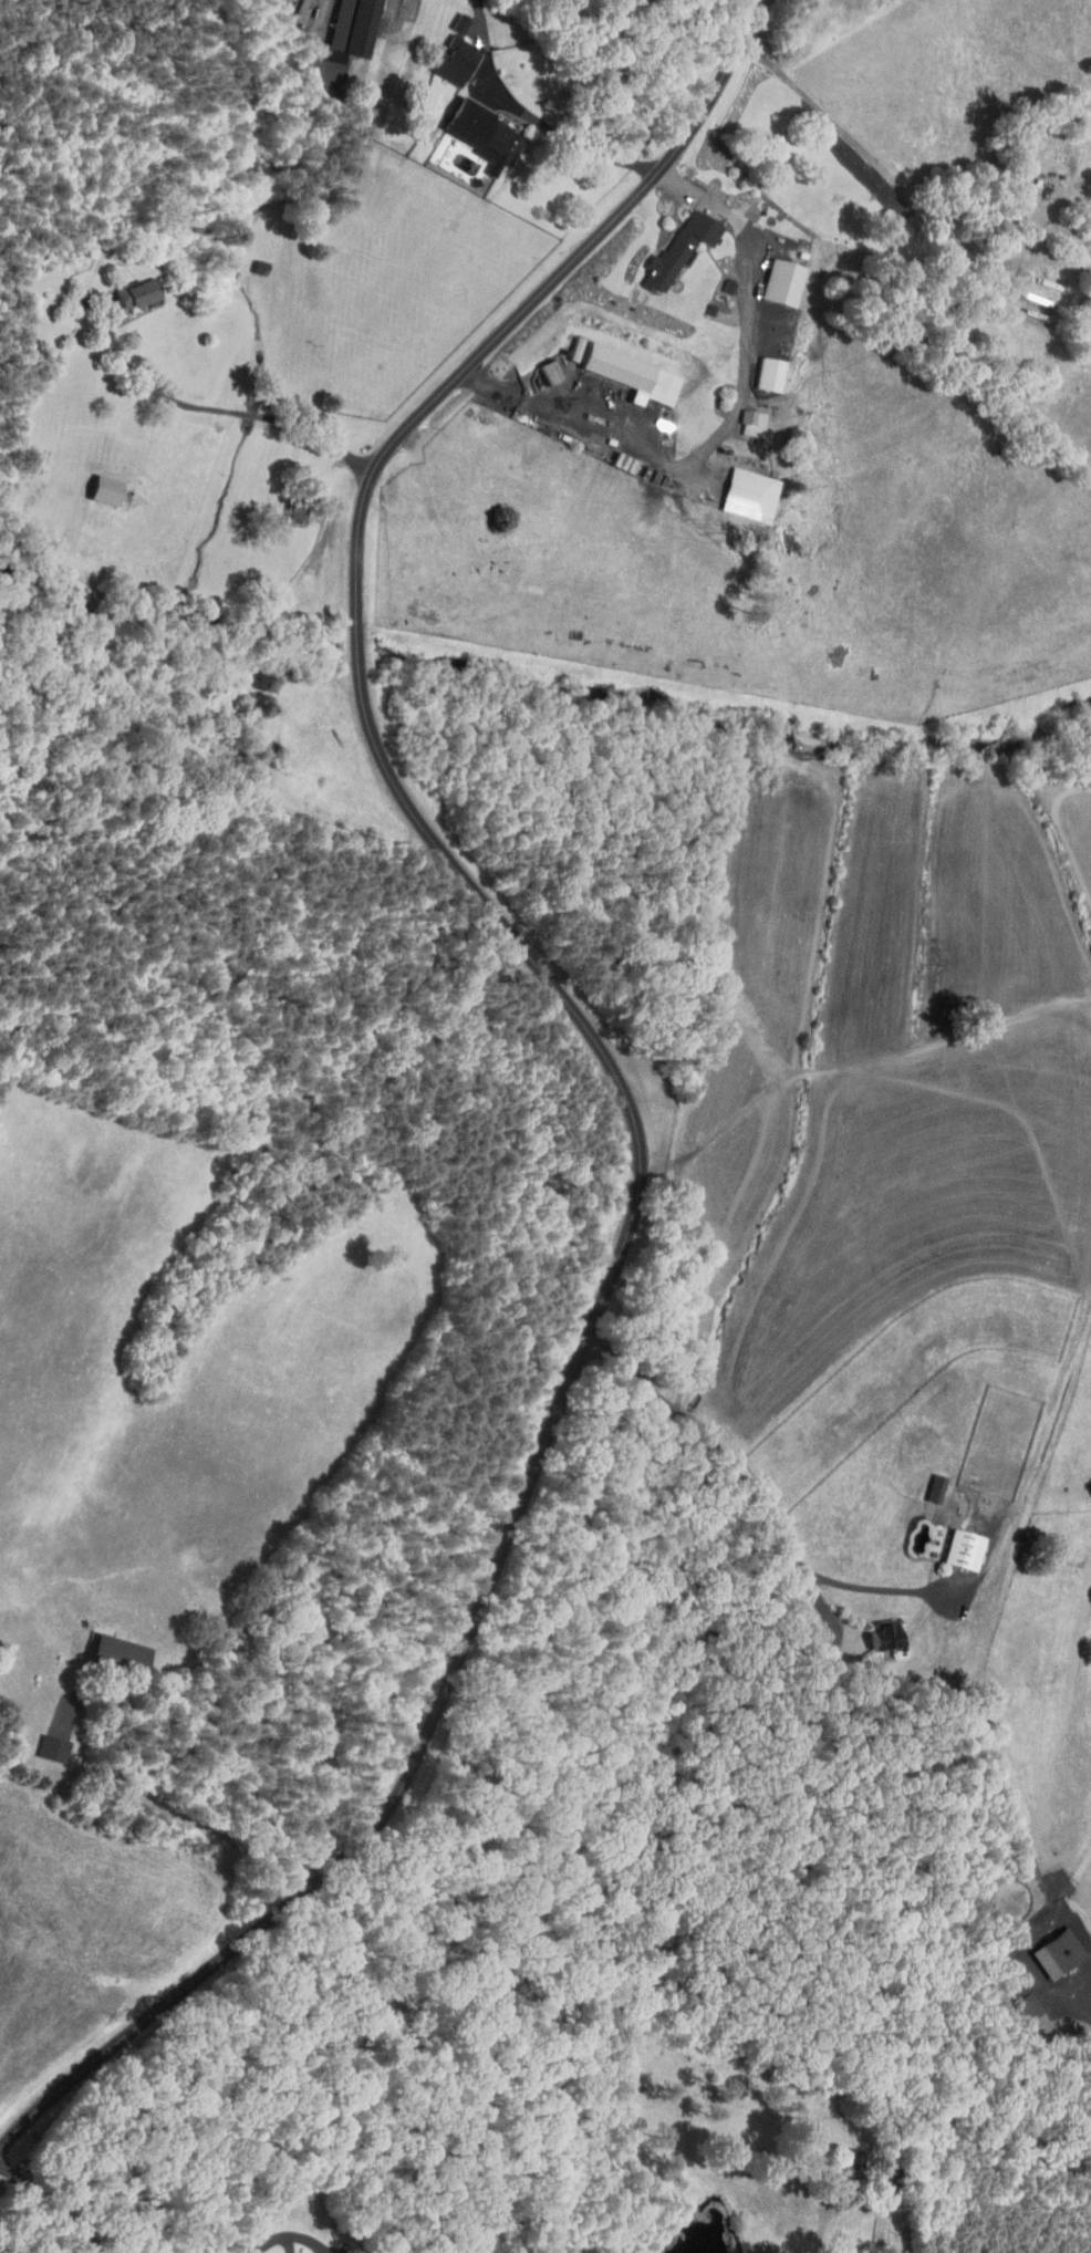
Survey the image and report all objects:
building: (449, 17)
road: (326, 18)
building: (342, 24)
building: (445, 55)
road: (718, 96)
road: (534, 118)
building: (474, 129)
road: (898, 181)
building: (668, 243)
building: (1088, 250)
building: (772, 276)
building: (718, 280)
building: (127, 287)
building: (569, 343)
building: (540, 365)
building: (623, 367)
building: (759, 367)
road: (233, 412)
building: (741, 416)
building: (95, 484)
building: (738, 489)
road: (642, 1184)
road: (634, 1371)
road: (686, 1416)
road: (765, 1509)
building: (918, 1533)
building: (954, 1544)
road: (891, 1590)
road: (314, 1600)
building: (876, 1629)
building: (110, 1648)
building: (42, 1743)
building: (1048, 1948)
road: (1082, 2000)
building: (1017, 2001)
road: (53, 2211)
road: (821, 2231)
road: (276, 2240)

